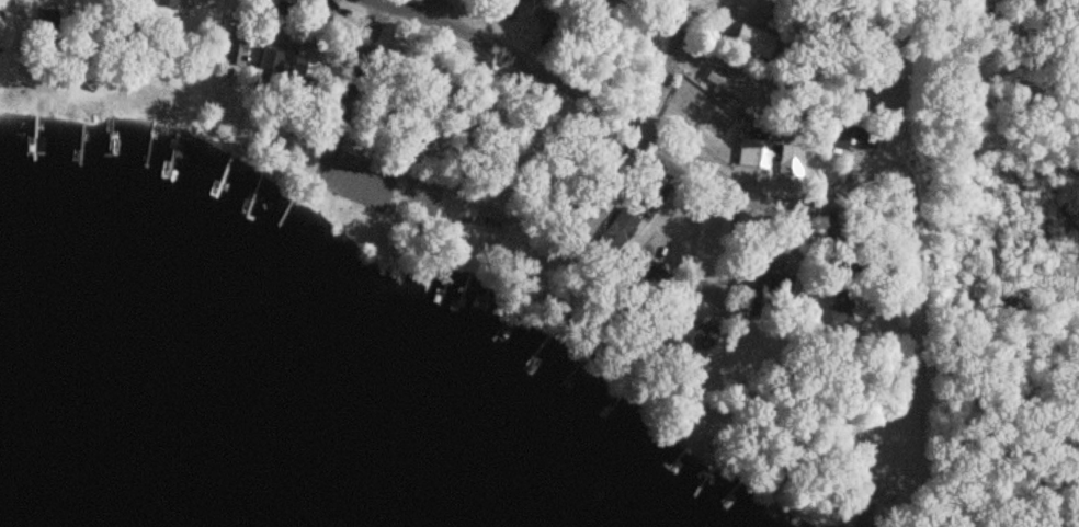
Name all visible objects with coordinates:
building: (166, 4)
road: (436, 7)
building: (162, 35)
road: (872, 53)
building: (231, 54)
building: (270, 64)
road: (669, 65)
road: (349, 87)
building: (728, 87)
road: (597, 102)
building: (836, 137)
park: (436, 144)
building: (753, 154)
road: (895, 154)
building: (790, 160)
parking lot: (382, 176)
building: (618, 230)
building: (759, 287)
building: (698, 339)
road: (913, 396)
road: (934, 500)
road: (868, 512)

